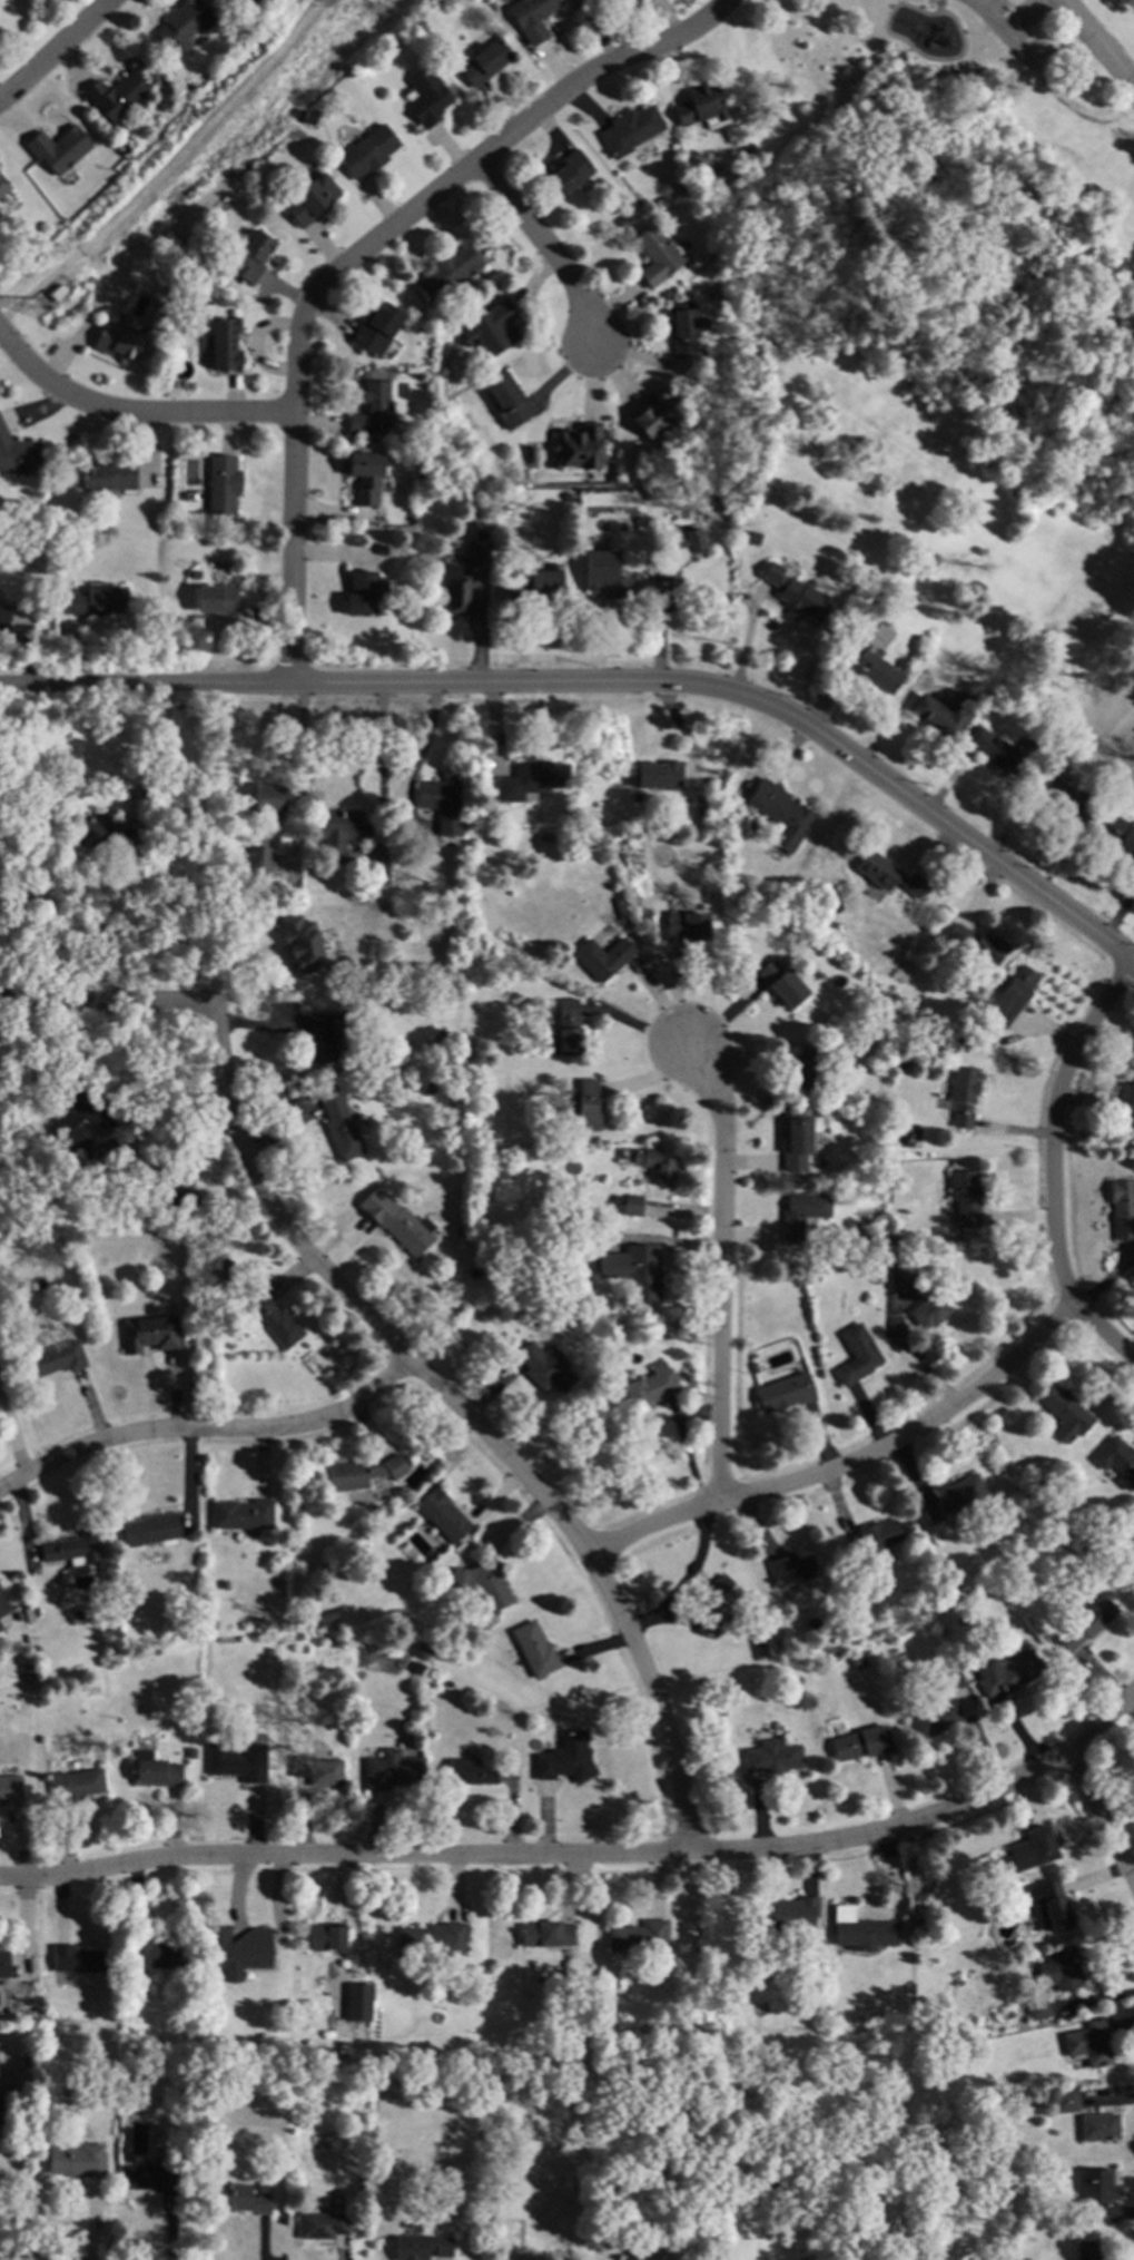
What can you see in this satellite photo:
building: (30, 0)
building: (596, 1)
building: (226, 2)
power tower: (356, 4)
building: (531, 18)
building: (418, 24)
park: (1112, 24)
building: (184, 26)
road: (1003, 36)
road: (56, 47)
road: (1095, 47)
building: (484, 61)
building: (365, 71)
building: (115, 95)
building: (427, 97)
building: (700, 104)
building: (309, 117)
building: (629, 130)
road: (512, 141)
building: (57, 148)
building: (367, 151)
building: (569, 171)
building: (680, 184)
building: (2, 186)
building: (309, 199)
park: (945, 202)
building: (620, 219)
road: (550, 252)
building: (655, 255)
building: (250, 256)
building: (448, 271)
power tower: (31, 308)
building: (438, 313)
building: (1012, 316)
building: (377, 327)
building: (491, 327)
building: (682, 327)
building: (724, 331)
building: (115, 341)
building: (223, 343)
building: (507, 401)
road: (130, 409)
building: (373, 409)
building: (657, 413)
building: (578, 448)
building: (18, 454)
building: (365, 474)
building: (108, 475)
building: (221, 484)
road: (290, 489)
building: (648, 493)
building: (688, 541)
building: (381, 549)
building: (497, 551)
building: (477, 553)
building: (670, 571)
building: (604, 574)
building: (538, 582)
building: (977, 587)
building: (455, 589)
building: (789, 589)
building: (365, 592)
building: (217, 599)
building: (98, 600)
building: (4, 612)
building: (1043, 639)
building: (877, 665)
road: (363, 678)
building: (945, 713)
building: (1004, 751)
road: (297, 768)
building: (659, 774)
building: (531, 779)
building: (707, 792)
building: (1059, 793)
road: (136, 794)
building: (268, 798)
building: (575, 799)
building: (443, 804)
road: (929, 807)
building: (18, 810)
building: (699, 810)
building: (733, 813)
building: (780, 813)
building: (474, 823)
building: (339, 831)
building: (689, 834)
building: (105, 835)
building: (1120, 835)
building: (546, 837)
building: (259, 859)
building: (886, 873)
building: (1, 888)
building: (620, 906)
building: (687, 926)
building: (316, 941)
building: (977, 945)
building: (602, 957)
building: (781, 983)
building: (1012, 998)
road: (103, 1008)
building: (566, 1029)
building: (983, 1035)
building: (329, 1038)
building: (798, 1065)
building: (963, 1094)
building: (1127, 1104)
building: (582, 1107)
building: (82, 1122)
building: (339, 1124)
building: (798, 1139)
road: (1037, 1150)
building: (862, 1153)
road: (168, 1161)
building: (653, 1161)
building: (965, 1196)
building: (617, 1198)
building: (0, 1199)
building: (177, 1200)
building: (631, 1203)
building: (1122, 1207)
building: (617, 1209)
building: (801, 1212)
building: (403, 1227)
building: (460, 1230)
building: (894, 1238)
building: (866, 1240)
building: (891, 1255)
building: (633, 1269)
road: (722, 1275)
building: (1132, 1277)
building: (903, 1278)
building: (134, 1285)
building: (929, 1309)
building: (275, 1320)
building: (539, 1320)
building: (673, 1321)
building: (234, 1327)
building: (149, 1333)
building: (856, 1355)
building: (55, 1359)
building: (545, 1366)
building: (752, 1366)
building: (650, 1386)
building: (783, 1392)
building: (1065, 1413)
road: (461, 1419)
road: (208, 1436)
building: (426, 1454)
building: (1116, 1461)
road: (856, 1462)
building: (361, 1473)
building: (956, 1499)
building: (241, 1514)
building: (443, 1514)
building: (149, 1529)
building: (874, 1539)
building: (71, 1547)
building: (790, 1569)
building: (324, 1570)
building: (224, 1583)
building: (483, 1583)
building: (954, 1584)
building: (3, 1604)
building: (713, 1605)
building: (32, 1610)
building: (327, 1615)
building: (1082, 1623)
building: (285, 1627)
building: (0, 1628)
building: (841, 1629)
building: (425, 1648)
building: (303, 1649)
building: (534, 1649)
building: (269, 1652)
building: (857, 1661)
building: (417, 1668)
building: (26, 1672)
building: (1006, 1673)
building: (950, 1677)
building: (927, 1683)
building: (934, 1719)
building: (860, 1742)
building: (190, 1752)
building: (565, 1758)
building: (772, 1758)
building: (237, 1761)
building: (154, 1770)
building: (317, 1770)
building: (393, 1770)
building: (469, 1772)
building: (73, 1784)
building: (10, 1790)
road: (1102, 1822)
road: (585, 1849)
building: (1028, 1853)
building: (917, 1896)
building: (1052, 1904)
building: (788, 1914)
building: (917, 1920)
building: (860, 1930)
building: (546, 1934)
building: (326, 1936)
building: (639, 1936)
building: (432, 1938)
building: (237, 1948)
building: (152, 1954)
building: (77, 1959)
building: (4, 1964)
building: (565, 1964)
building: (1061, 1969)
building: (339, 1971)
building: (269, 1998)
building: (357, 2003)
building: (1037, 2008)
building: (1007, 2015)
building: (875, 2026)
building: (1024, 2041)
building: (1089, 2042)
building: (185, 2091)
building: (1065, 2101)
building: (0, 2104)
building: (1098, 2126)
building: (77, 2158)
building: (367, 2160)
road: (18, 2166)
building: (156, 2177)
building: (757, 2180)
building: (363, 2182)
building: (1096, 2194)
building: (240, 2198)
building: (569, 2201)
building: (323, 2224)
building: (421, 2247)
road: (42, 2248)
building: (1087, 2250)
building: (694, 2257)

